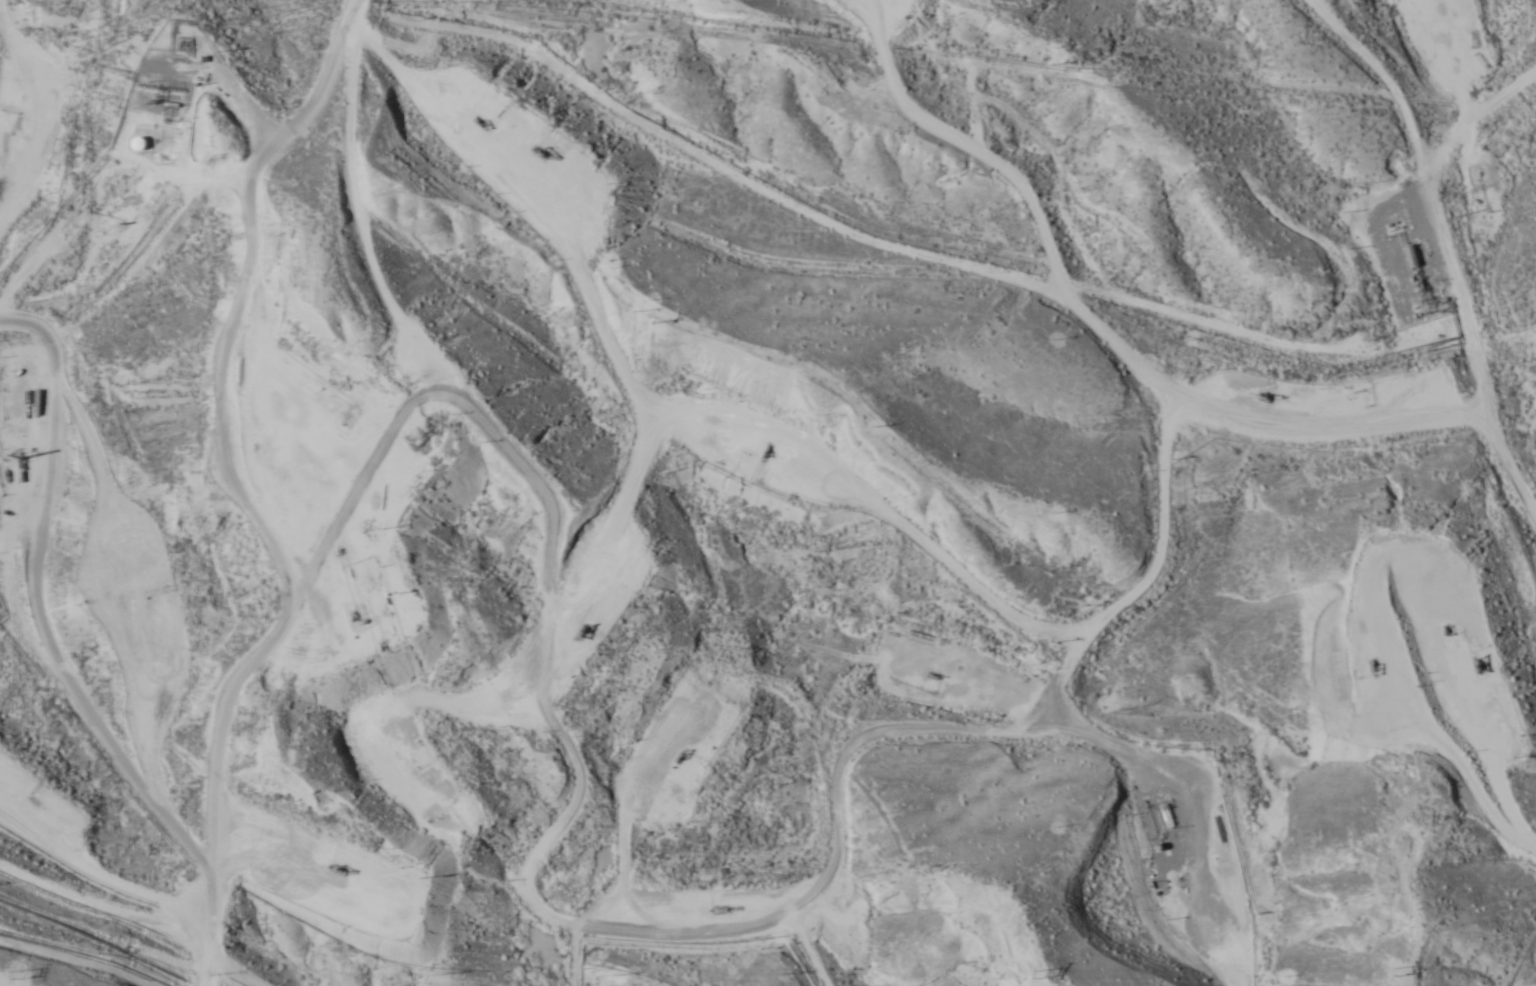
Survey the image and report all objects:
road: (1497, 190)
road: (1464, 252)
building: (1410, 257)
road: (914, 320)
road: (253, 423)
road: (1127, 570)
road: (97, 680)
road: (413, 780)

